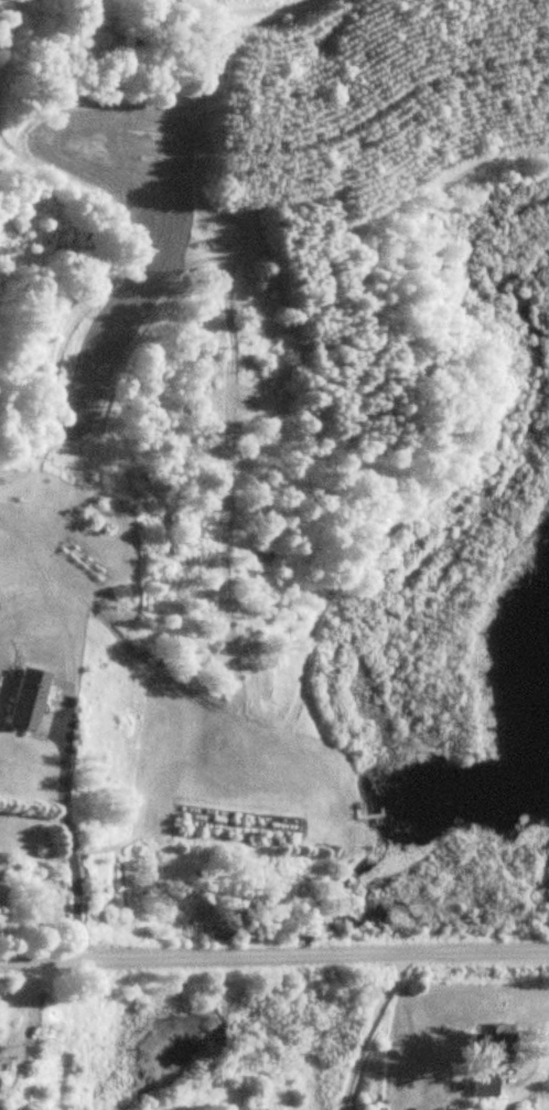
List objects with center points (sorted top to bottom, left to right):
building: (18, 708)
road: (478, 952)
road: (204, 957)
road: (370, 1028)
building: (488, 1045)
building: (483, 1087)

